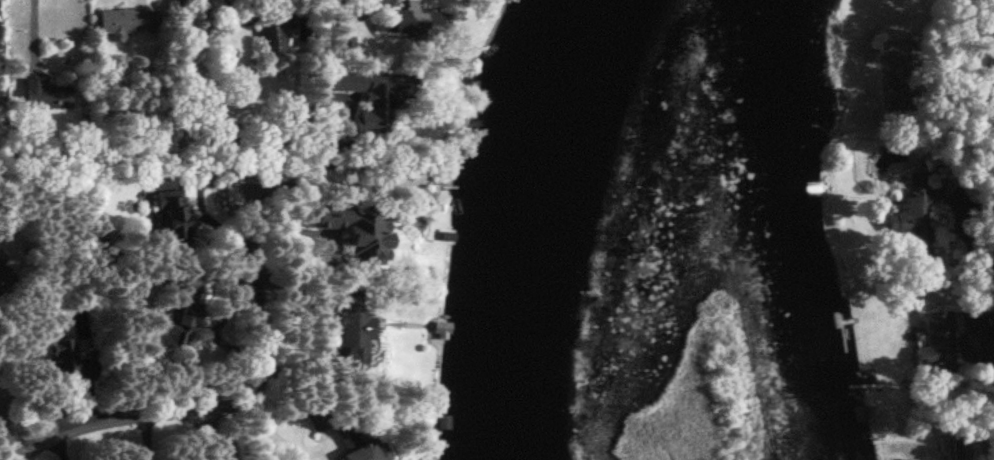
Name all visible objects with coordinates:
road: (386, 0)
building: (391, 21)
building: (124, 22)
building: (272, 26)
building: (343, 44)
building: (44, 94)
building: (371, 95)
road: (210, 110)
building: (919, 209)
building: (171, 214)
river: (553, 225)
building: (352, 227)
road: (977, 253)
road: (24, 311)
building: (181, 315)
building: (351, 329)
building: (935, 337)
road: (243, 354)
building: (61, 356)
road: (215, 435)
road: (264, 438)
building: (346, 439)
road: (11, 440)

